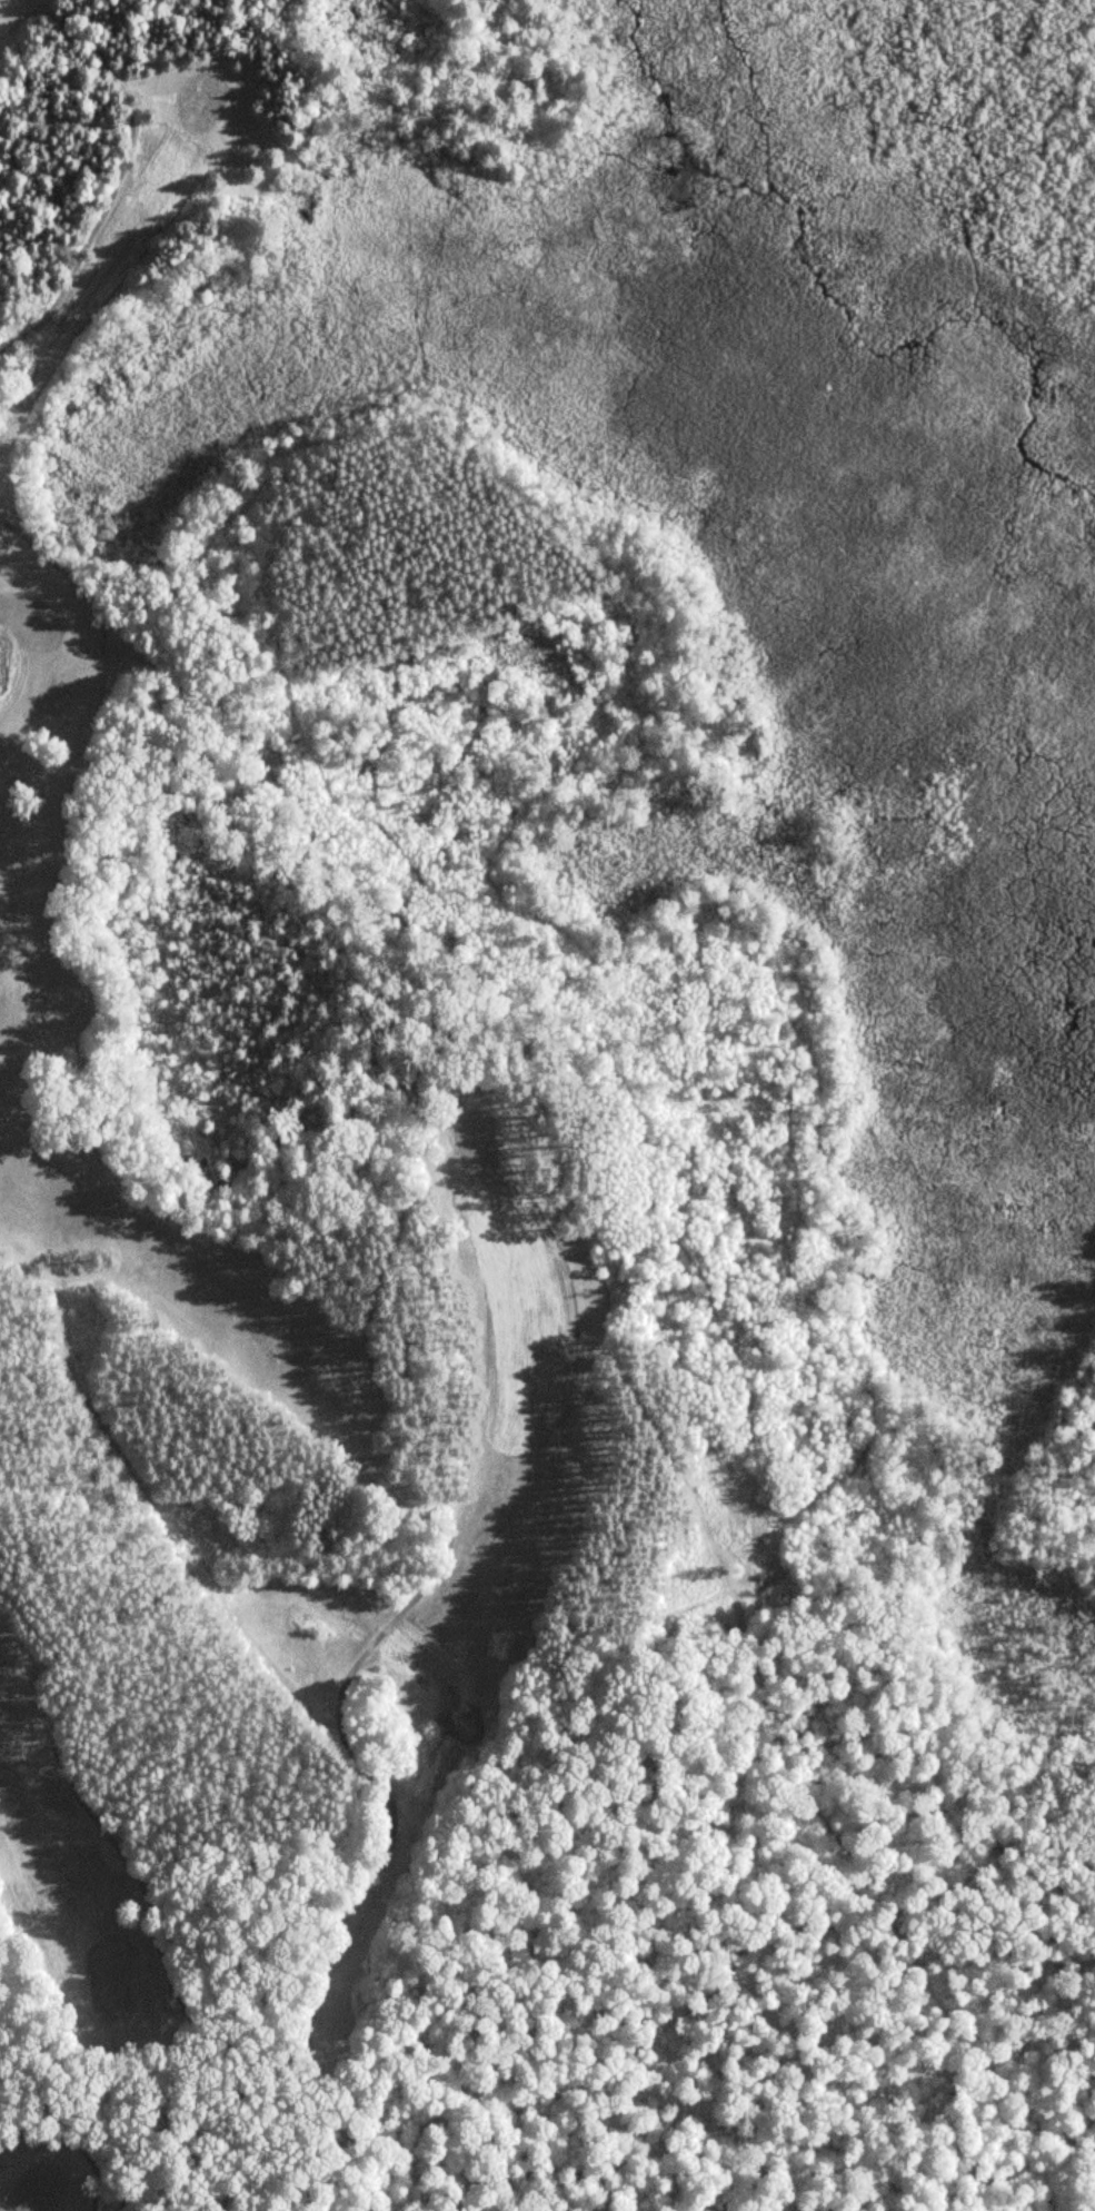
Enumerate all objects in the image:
park: (272, 1323)

